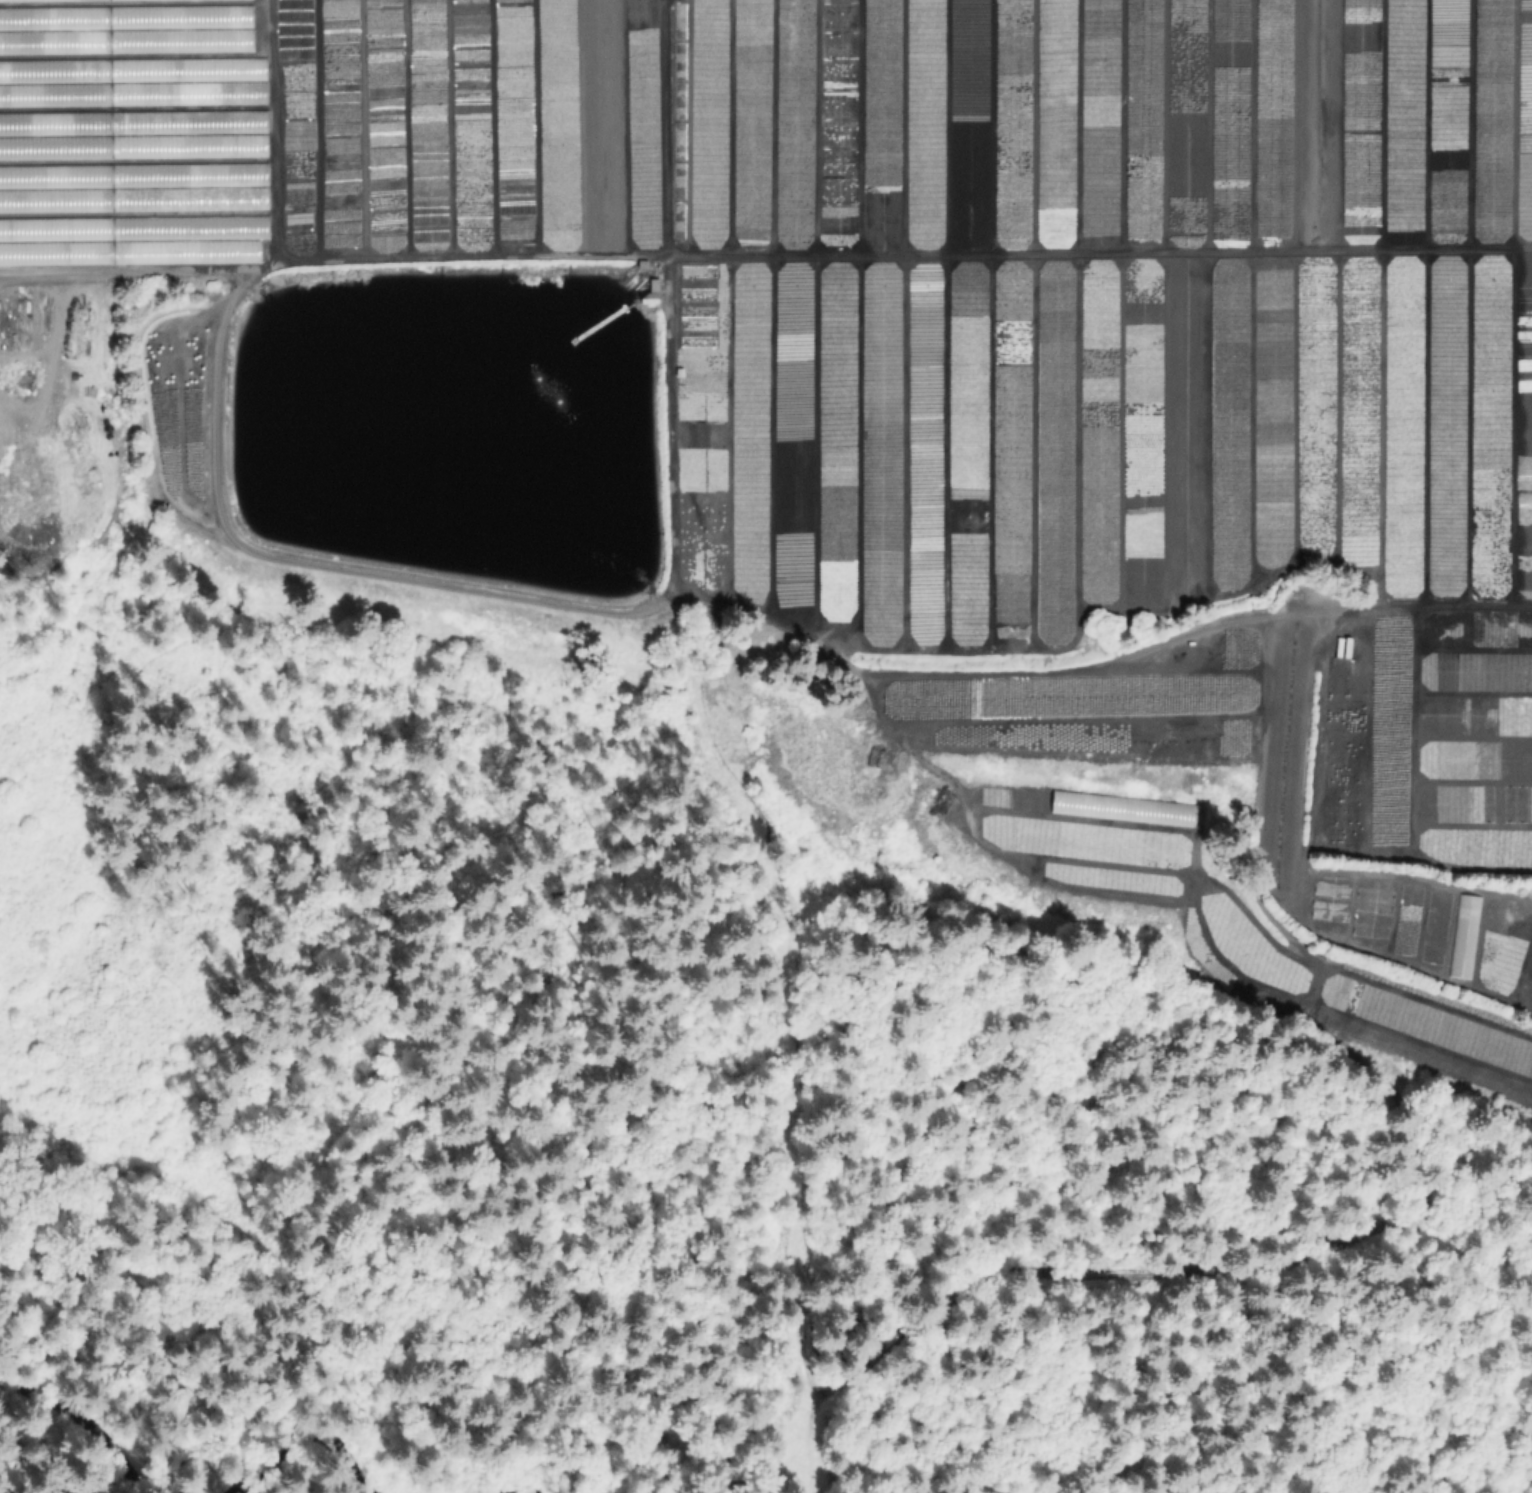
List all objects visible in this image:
building: (12, 0)
building: (146, 24)
building: (30, 41)
building: (41, 70)
road: (663, 129)
building: (18, 175)
building: (22, 201)
building: (229, 236)
road: (121, 273)
building: (653, 293)
road: (670, 579)
building: (1402, 945)
road: (601, 1335)

